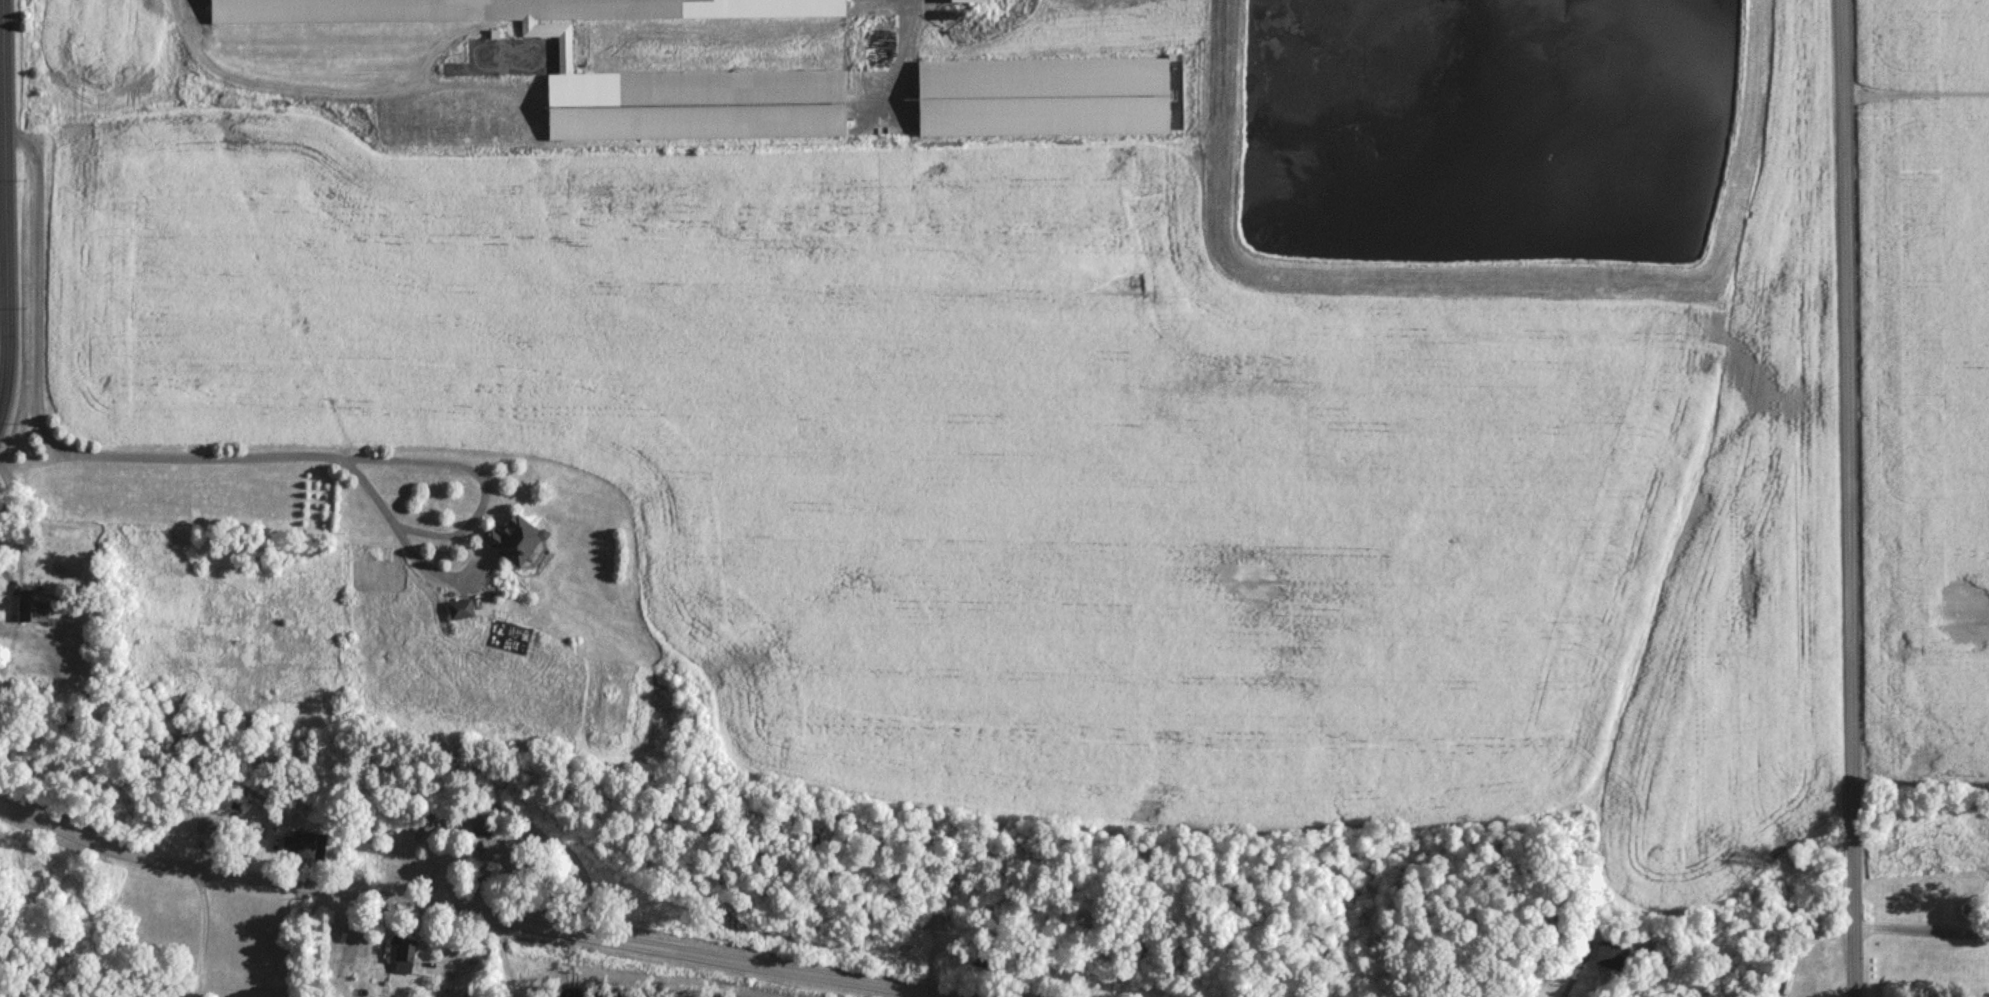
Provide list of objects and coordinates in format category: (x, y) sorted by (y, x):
building: (967, 0)
building: (507, 9)
road: (274, 94)
building: (1040, 96)
building: (694, 104)
road: (4, 203)
road: (209, 457)
road: (1846, 498)
building: (512, 539)
road: (424, 561)
building: (481, 605)
building: (32, 608)
building: (459, 610)
road: (4, 636)
building: (463, 825)
building: (302, 847)
building: (1973, 862)
building: (1891, 892)
road: (474, 912)
road: (201, 933)
road: (1921, 937)
building: (400, 954)
building: (1609, 956)

